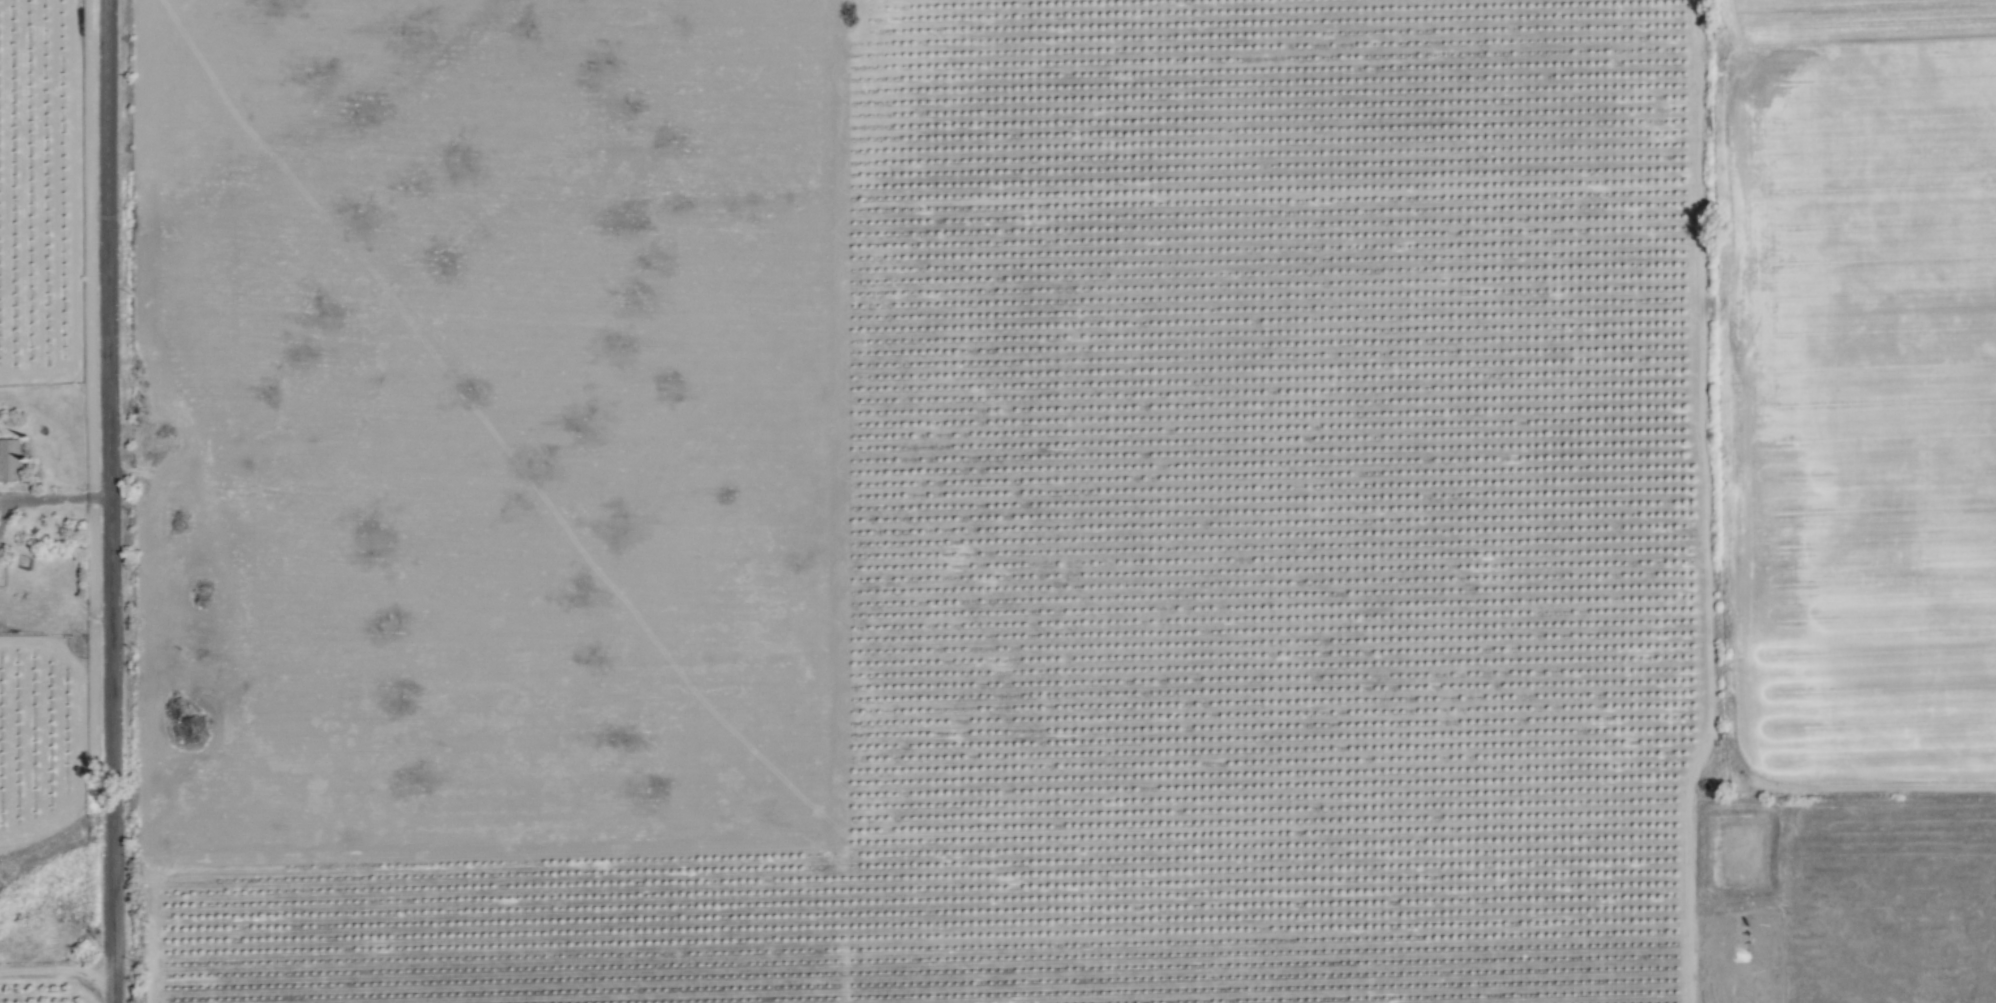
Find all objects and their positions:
building: (10, 460)
road: (55, 496)
road: (113, 501)

